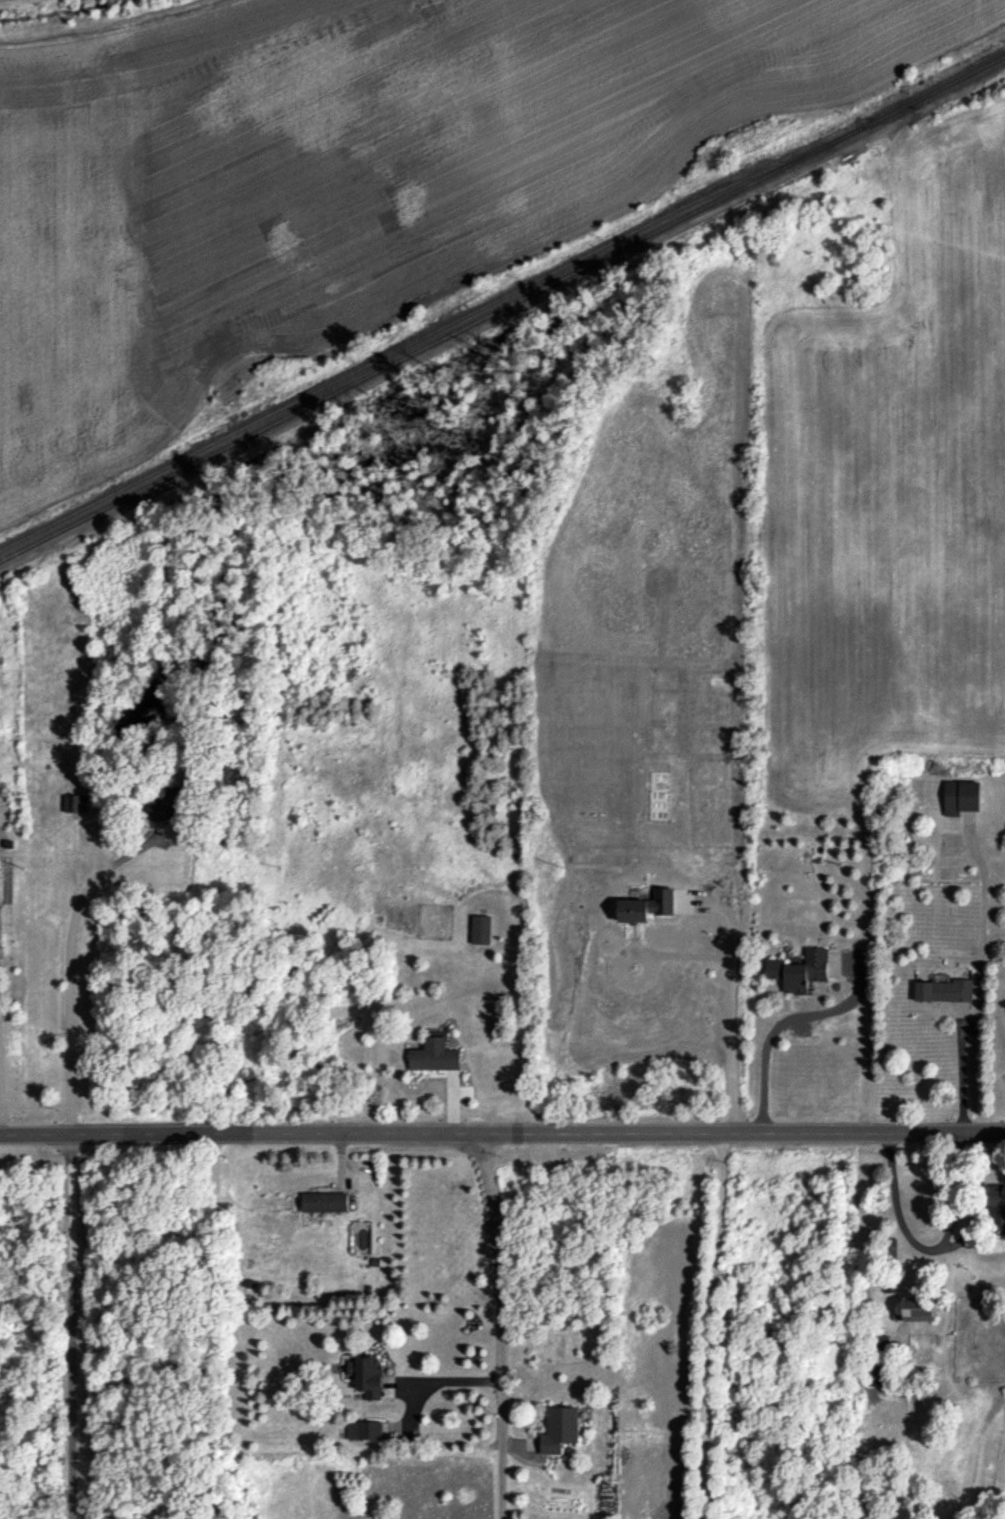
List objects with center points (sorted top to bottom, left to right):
railway: (619, 249)
railway: (387, 354)
railway: (117, 502)
building: (960, 796)
building: (75, 802)
building: (168, 804)
building: (682, 900)
building: (646, 906)
building: (0, 923)
building: (479, 929)
road: (70, 968)
building: (799, 970)
building: (944, 990)
road: (979, 990)
road: (727, 1000)
road: (996, 1017)
building: (433, 1055)
road: (764, 1062)
road: (2, 1112)
road: (502, 1135)
building: (323, 1202)
building: (995, 1207)
road: (923, 1246)
building: (919, 1308)
road: (497, 1321)
road: (712, 1325)
road: (210, 1327)
road: (71, 1328)
building: (881, 1342)
building: (874, 1374)
building: (367, 1375)
road: (445, 1380)
road: (410, 1411)
building: (364, 1429)
building: (559, 1429)

